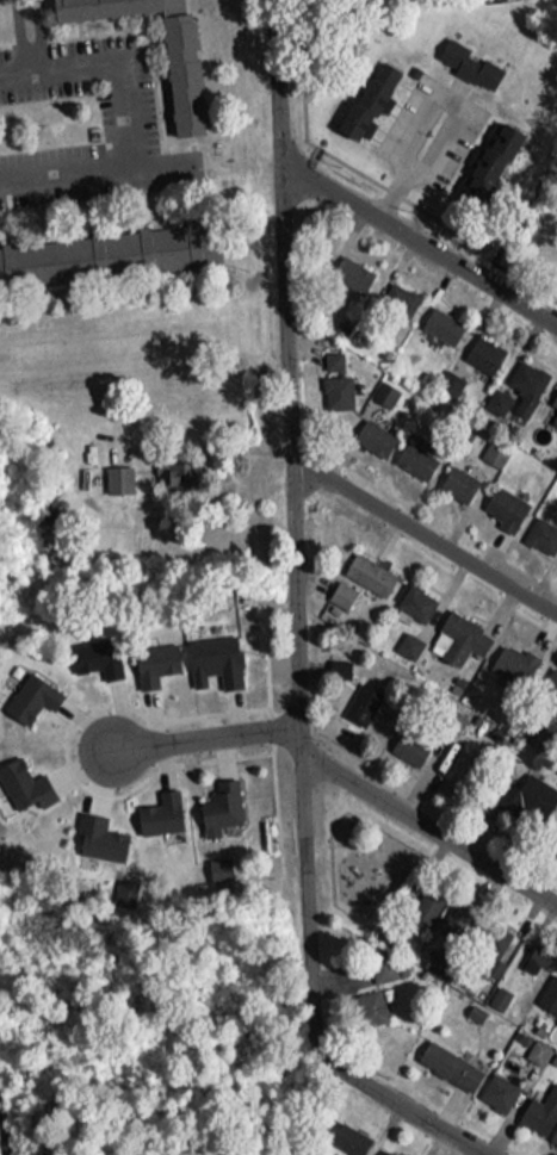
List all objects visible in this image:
building: (98, 5)
road: (23, 41)
building: (466, 57)
building: (179, 68)
building: (365, 93)
road: (429, 105)
road: (120, 125)
building: (489, 154)
road: (419, 246)
building: (348, 267)
building: (397, 292)
building: (440, 318)
building: (482, 346)
building: (552, 396)
building: (371, 430)
building: (411, 453)
building: (456, 476)
building: (501, 501)
road: (291, 523)
building: (541, 532)
road: (423, 548)
building: (358, 573)
building: (414, 591)
building: (456, 632)
building: (336, 656)
building: (512, 656)
building: (546, 690)
building: (347, 693)
building: (425, 732)
road: (203, 739)
building: (515, 788)
building: (218, 801)
building: (95, 831)
road: (428, 831)
building: (553, 838)
building: (534, 949)
building: (433, 956)
building: (547, 988)
building: (369, 1001)
building: (446, 1058)
building: (495, 1086)
road: (384, 1104)
building: (539, 1104)
building: (553, 1130)
building: (346, 1131)
building: (390, 1150)

